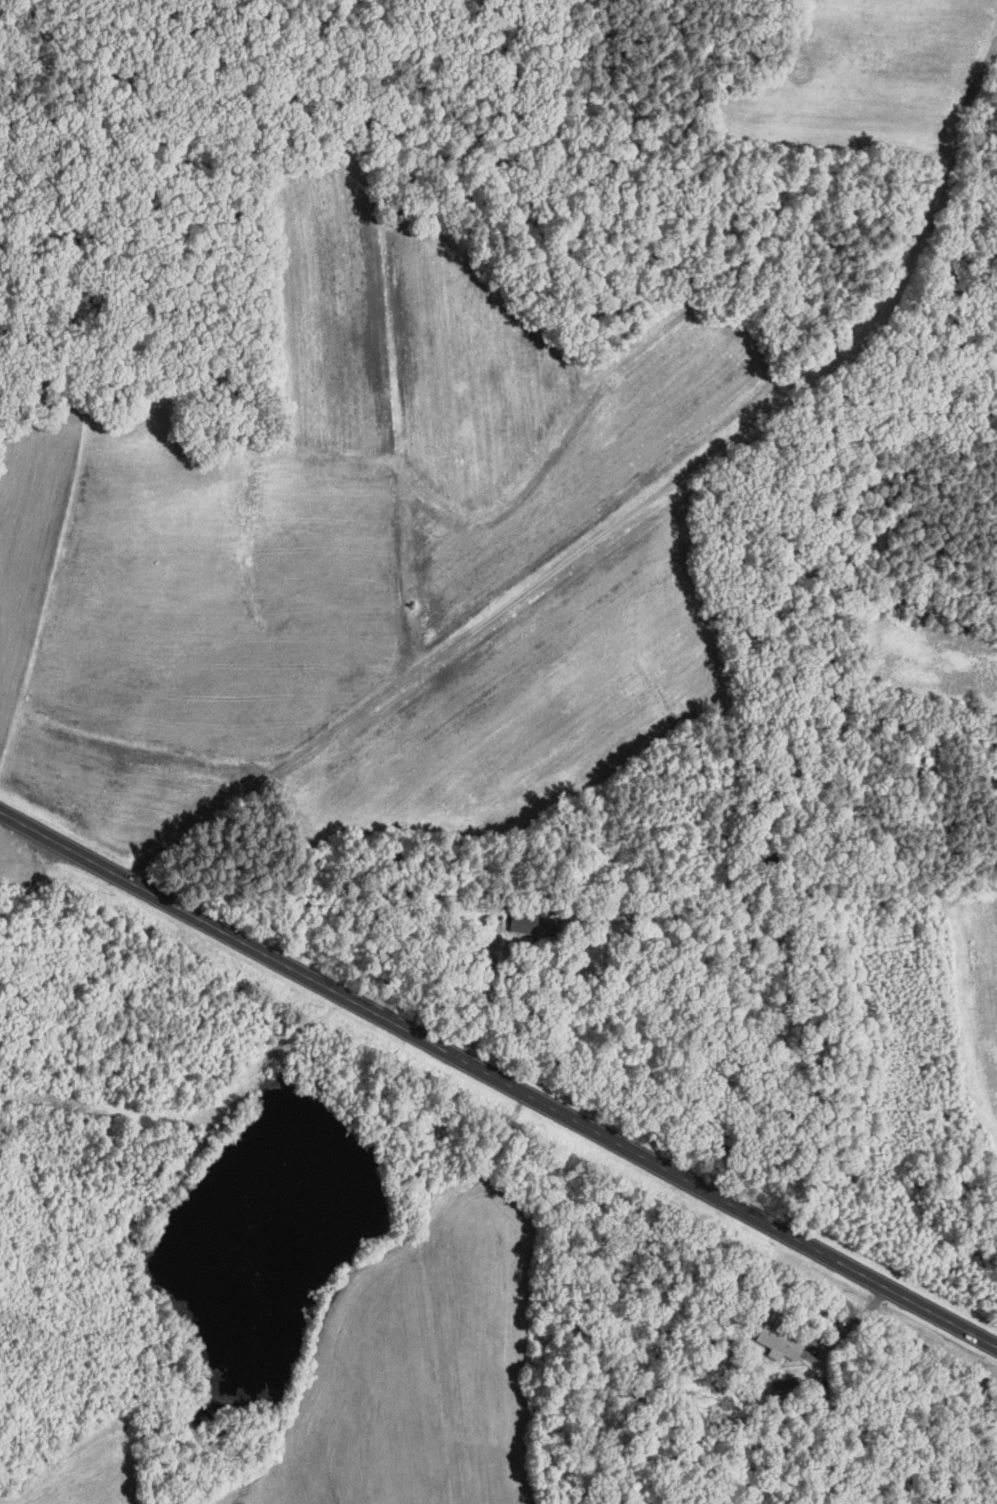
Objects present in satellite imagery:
road: (631, 508)
building: (524, 922)
road: (484, 1002)
road: (497, 1082)
building: (777, 1342)

